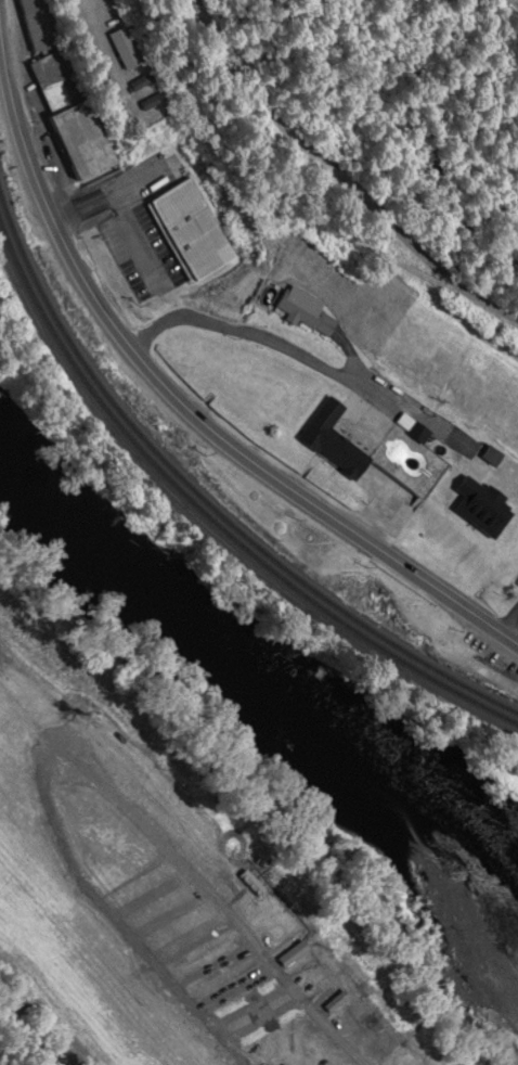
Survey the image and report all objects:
building: (38, 25)
building: (126, 49)
building: (70, 116)
road: (120, 209)
building: (193, 231)
building: (307, 316)
road: (249, 335)
road: (186, 409)
building: (335, 441)
building: (497, 469)
railway: (206, 501)
railway: (213, 521)
river: (276, 671)
road: (29, 1043)

